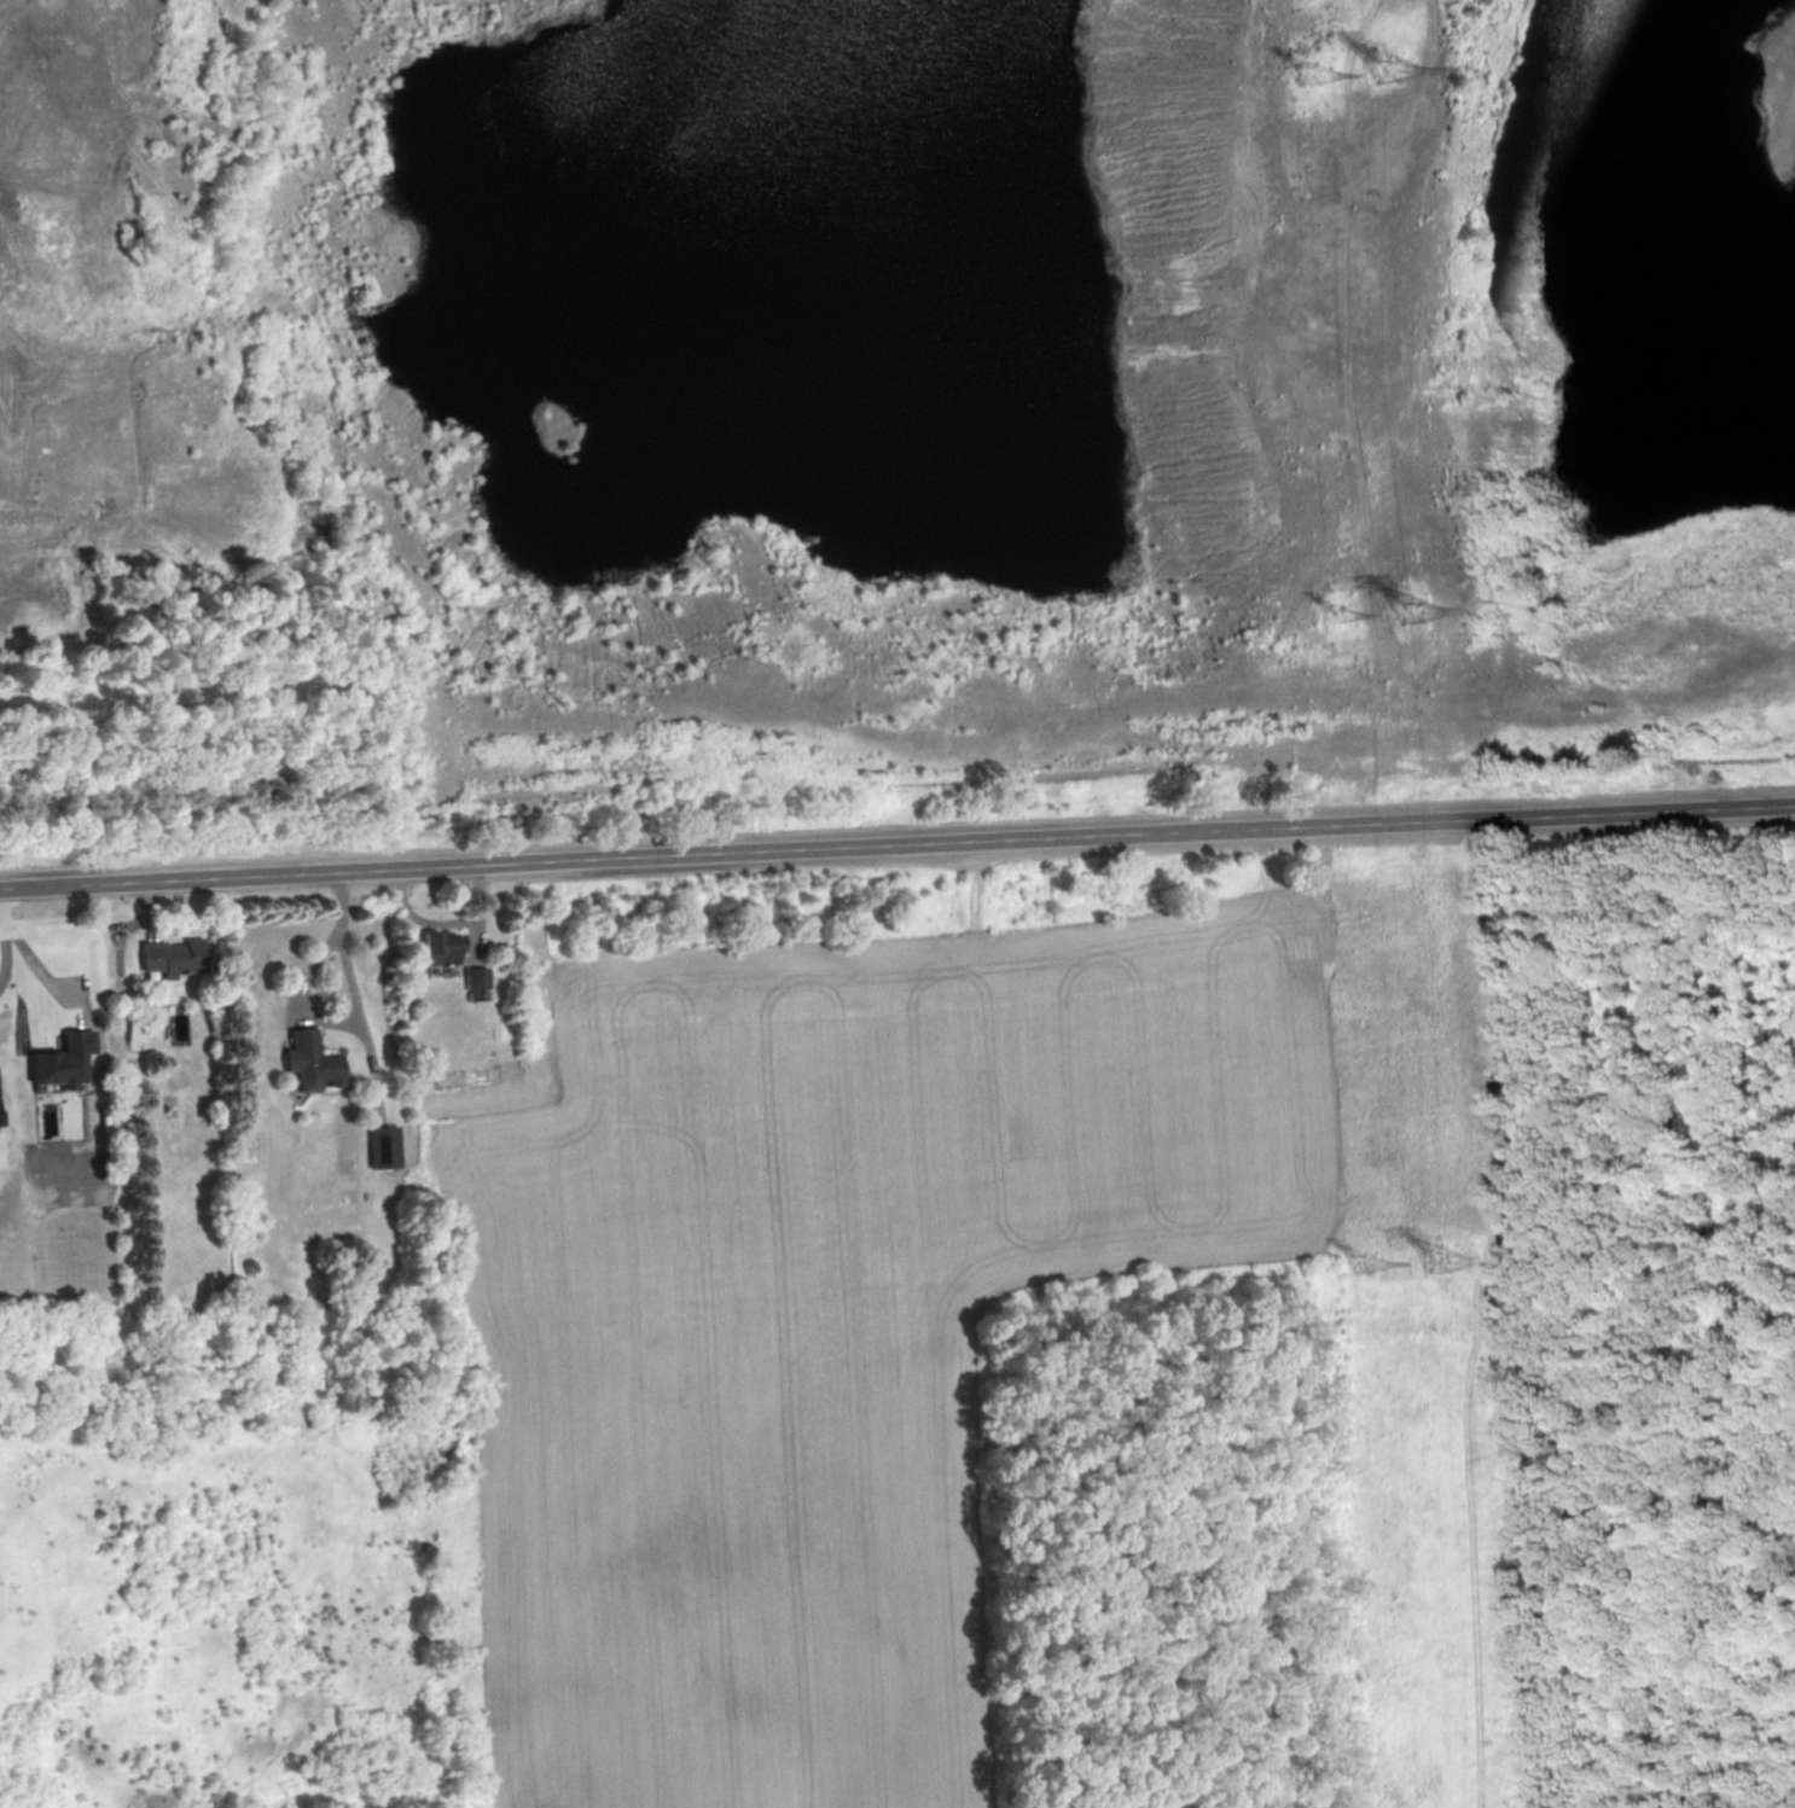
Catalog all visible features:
power tower: (1383, 74)
power tower: (1309, 79)
power tower: (1408, 614)
power tower: (1336, 615)
road: (896, 845)
building: (443, 948)
road: (4, 950)
building: (173, 955)
building: (476, 977)
road: (352, 1018)
building: (64, 1059)
building: (309, 1059)
building: (1, 1116)
building: (383, 1146)
power tower: (1434, 1261)
power tower: (1365, 1265)
park: (1656, 1309)
crop: (829, 1320)
park: (744, 1388)
road: (331, 1703)

